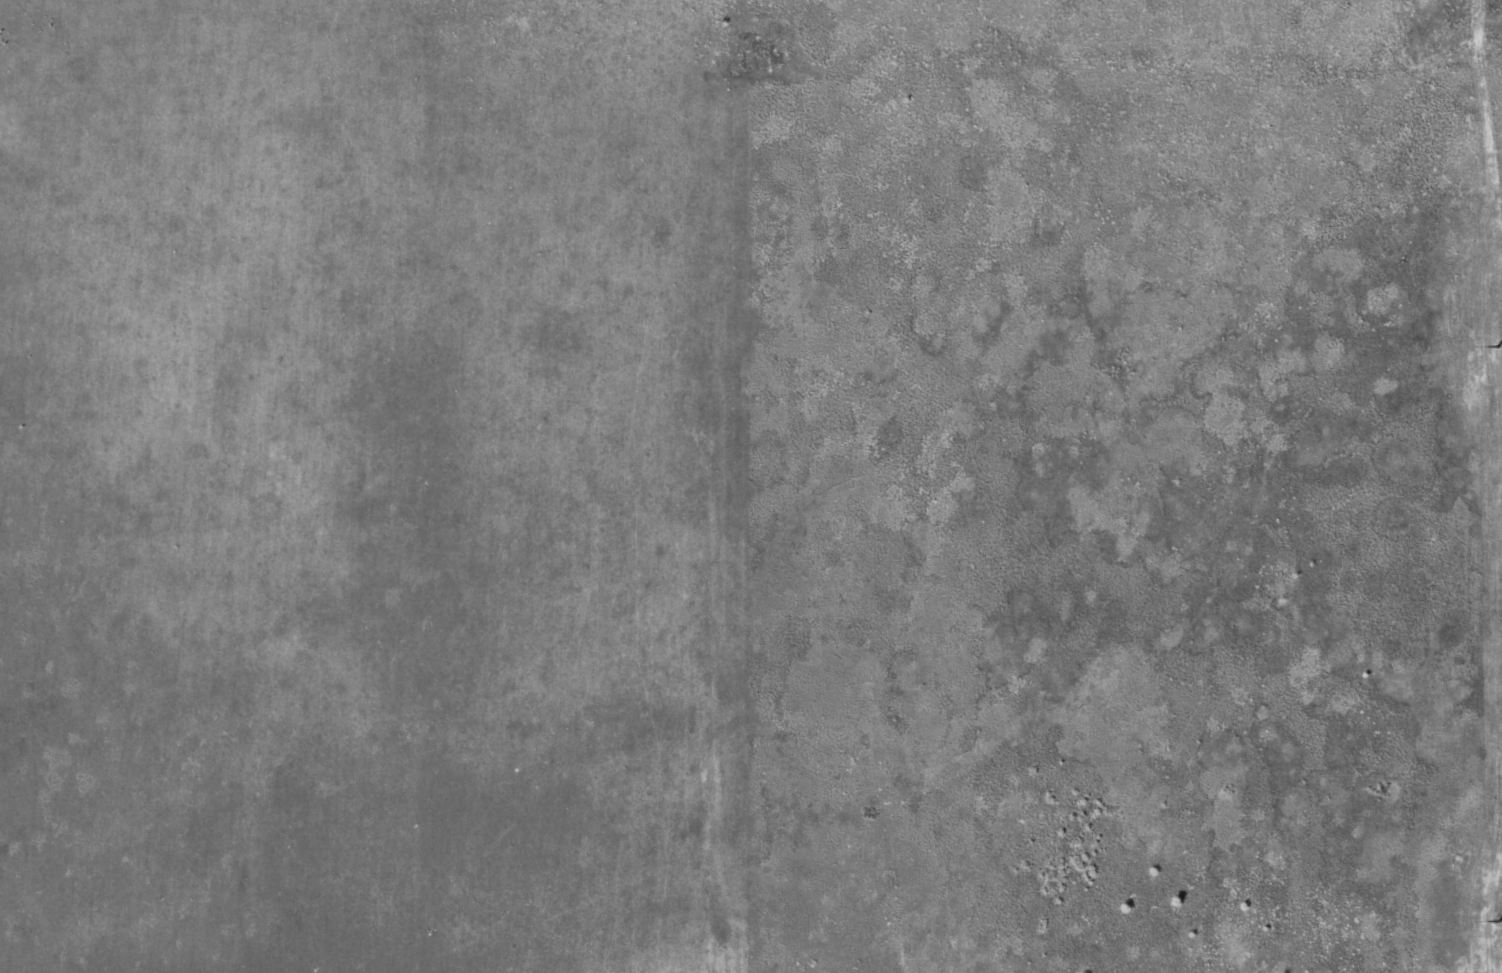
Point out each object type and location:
power tower: (1496, 356)
power tower: (1498, 920)

